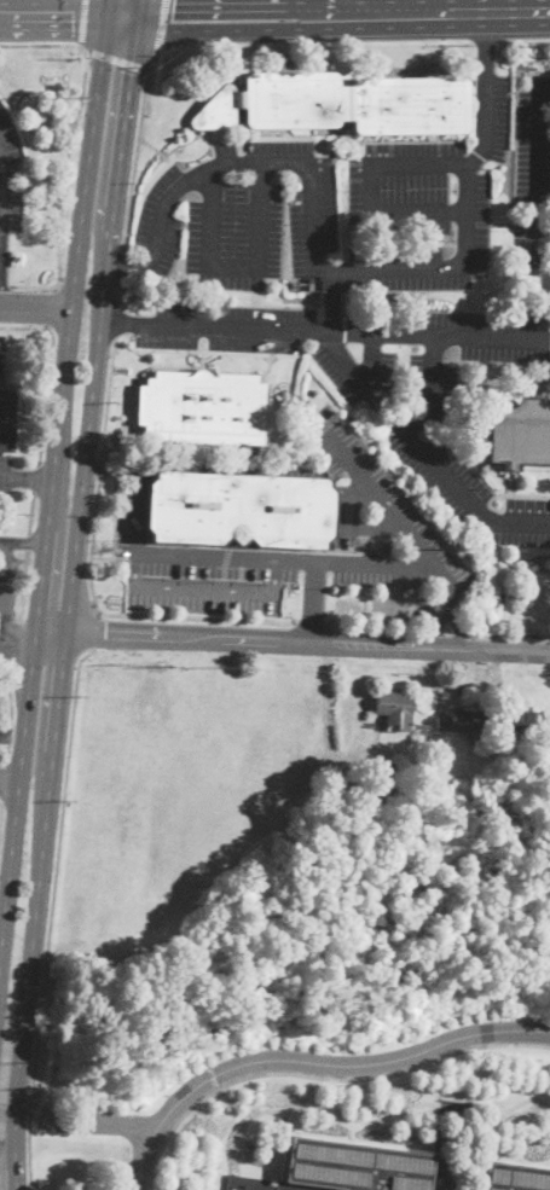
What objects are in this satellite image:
road: (417, 13)
road: (53, 14)
traffic signals: (73, 16)
road: (238, 17)
road: (149, 19)
traffic signals: (172, 19)
road: (82, 22)
road: (161, 29)
road: (523, 41)
road: (485, 45)
road: (215, 47)
road: (116, 59)
traffic signals: (129, 72)
power tower: (69, 95)
building: (340, 104)
road: (215, 139)
parking lot: (533, 144)
road: (69, 145)
road: (154, 147)
road: (0, 174)
parking lot: (10, 176)
road: (369, 188)
road: (534, 188)
parking lot: (422, 207)
parking lot: (241, 214)
road: (542, 231)
parking lot: (531, 254)
road: (118, 263)
road: (237, 267)
road: (337, 271)
road: (5, 285)
road: (116, 291)
road: (53, 304)
road: (35, 306)
road: (115, 320)
road: (325, 330)
parking lot: (479, 335)
parking lot: (279, 339)
road: (337, 354)
road: (1, 359)
parking lot: (5, 360)
road: (47, 371)
road: (105, 401)
building: (202, 407)
building: (7, 419)
building: (521, 435)
road: (427, 458)
parking lot: (456, 458)
road: (99, 469)
road: (110, 471)
road: (34, 476)
parking lot: (5, 477)
road: (25, 478)
road: (51, 482)
road: (359, 494)
building: (238, 510)
road: (29, 511)
road: (137, 512)
parking lot: (371, 516)
road: (371, 526)
road: (27, 540)
road: (22, 544)
road: (381, 559)
parking lot: (195, 565)
road: (71, 574)
road: (444, 575)
road: (22, 584)
road: (202, 588)
parking lot: (7, 591)
road: (6, 594)
road: (313, 599)
power tower: (496, 609)
road: (126, 614)
road: (441, 619)
road: (455, 619)
road: (311, 620)
road: (398, 627)
road: (433, 628)
road: (446, 631)
road: (458, 631)
road: (89, 632)
road: (508, 633)
road: (230, 638)
road: (12, 639)
road: (2, 642)
road: (2, 642)
road: (2, 643)
road: (18, 643)
road: (2, 644)
road: (445, 646)
road: (508, 650)
road: (8, 691)
road: (324, 707)
building: (394, 712)
building: (463, 721)
building: (527, 721)
road: (8, 735)
road: (12, 737)
road: (4, 751)
road: (10, 782)
building: (386, 784)
road: (54, 873)
road: (1, 942)
road: (311, 1062)
park: (273, 1067)
road: (320, 1078)
road: (30, 1104)
road: (363, 1119)
road: (81, 1122)
road: (7, 1149)
road: (28, 1153)
building: (358, 1166)
road: (16, 1169)
building: (516, 1177)
road: (251, 1188)

